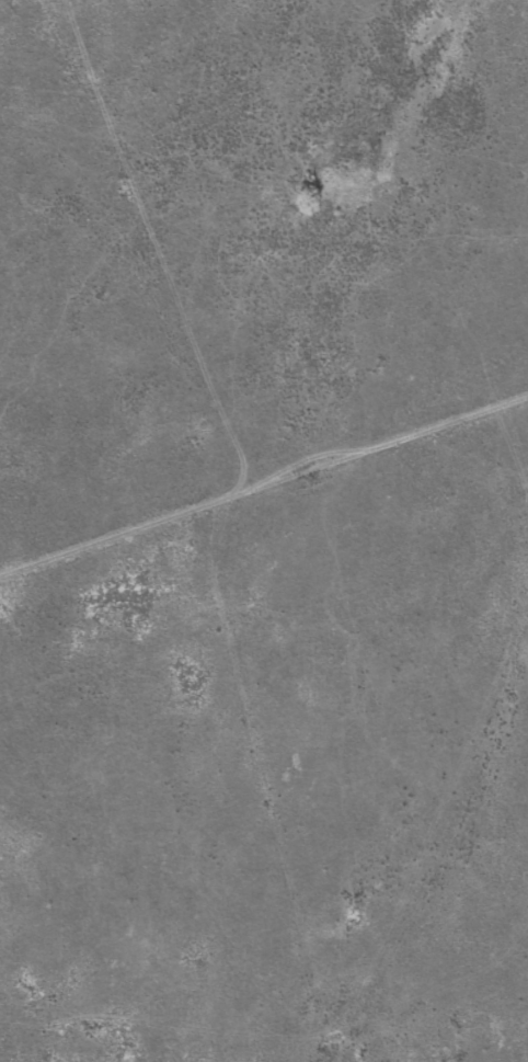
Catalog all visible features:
road: (264, 564)

